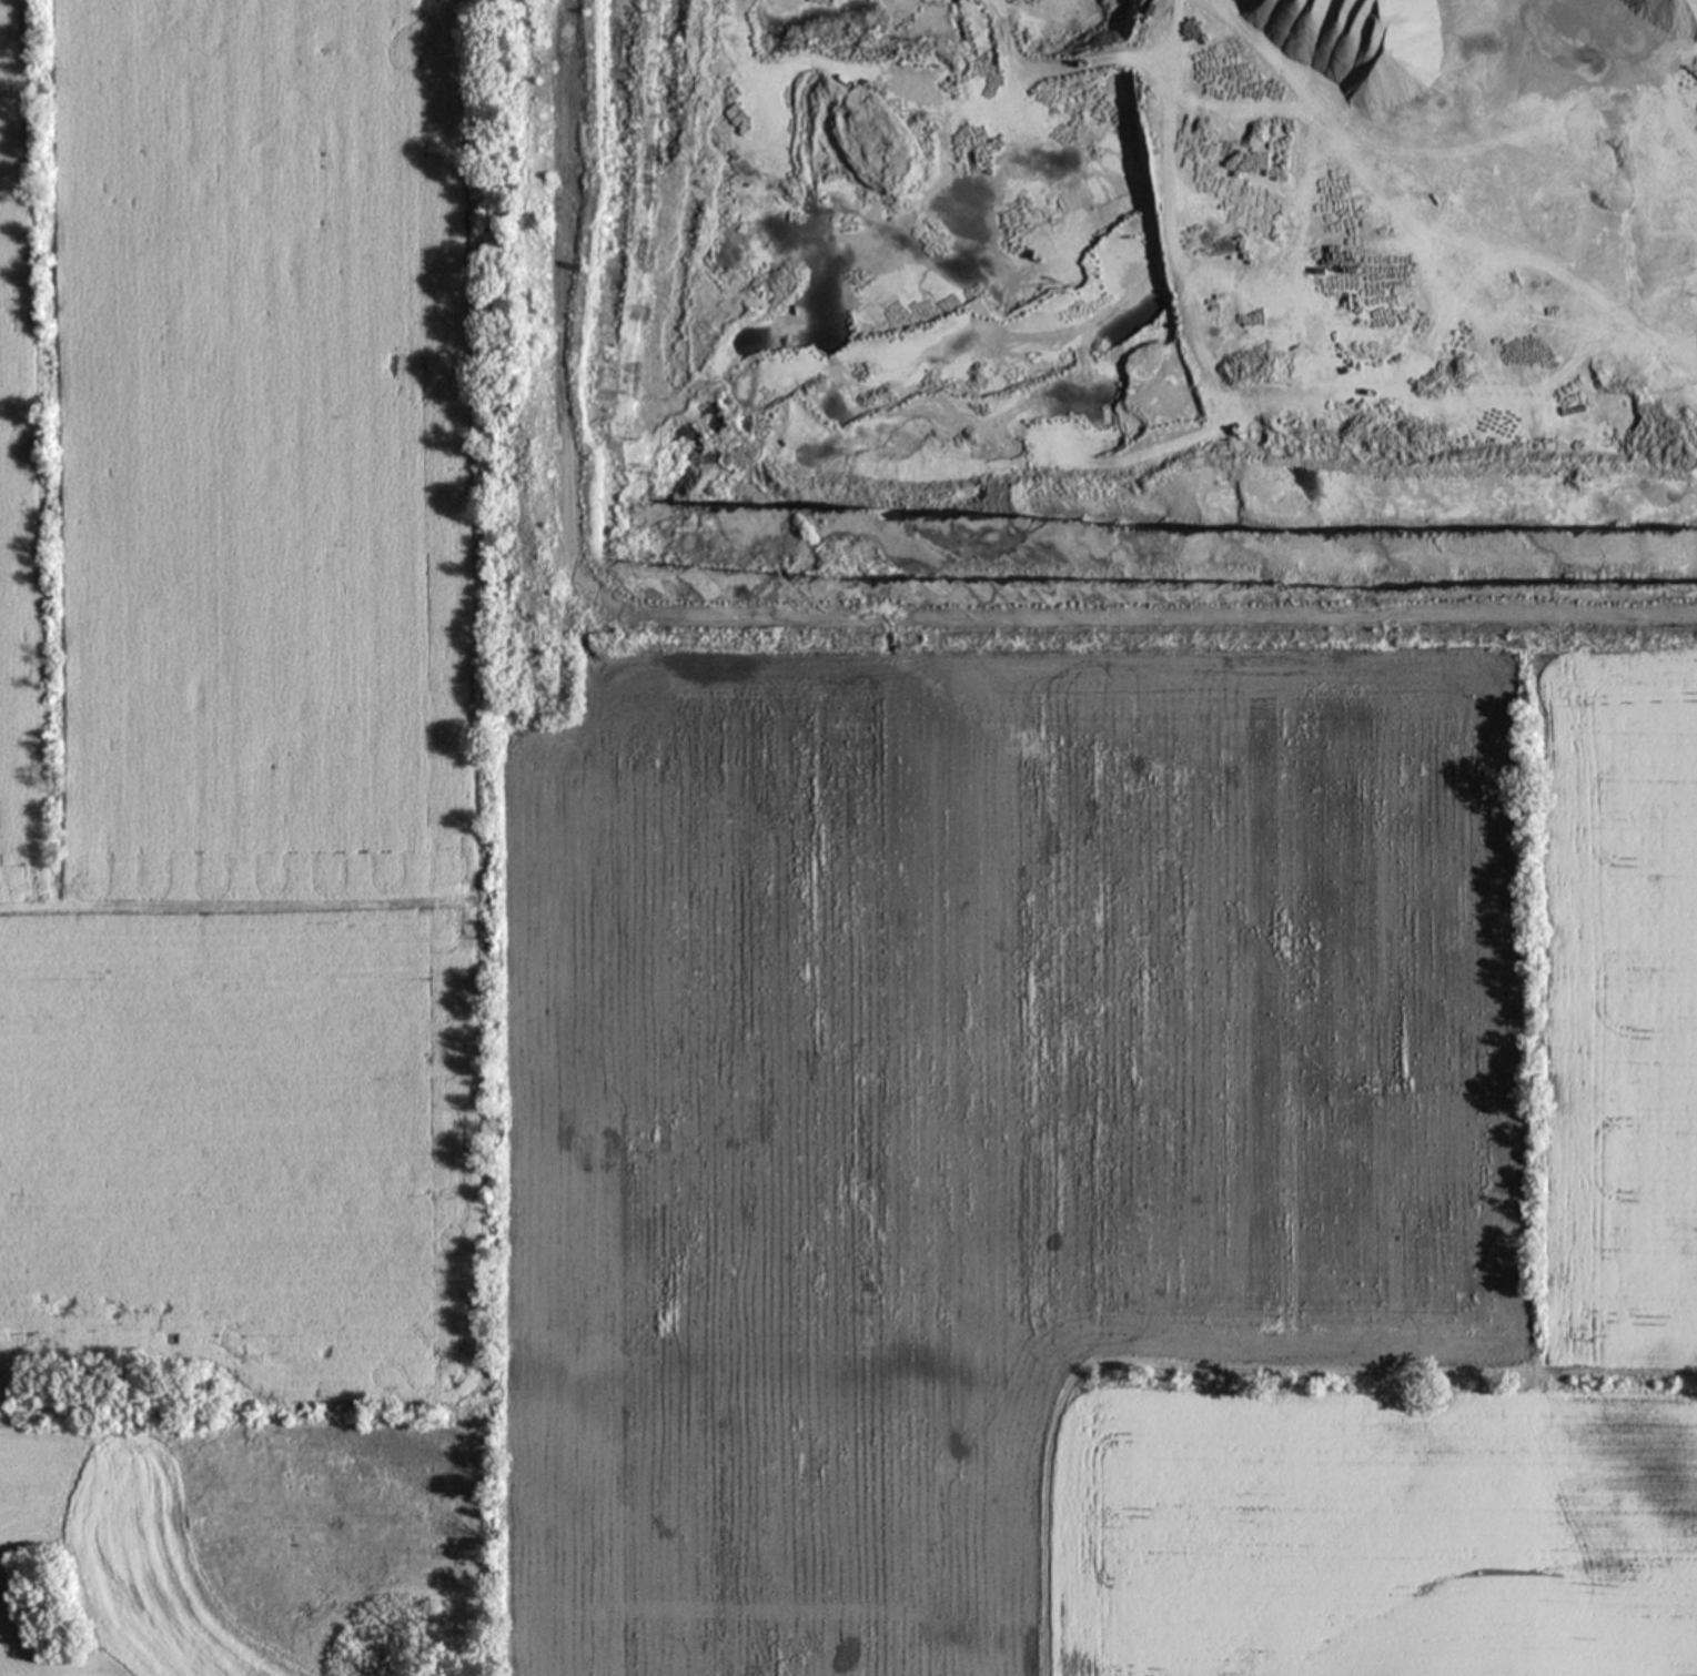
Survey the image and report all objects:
quarry: (1115, 296)
quarry: (1115, 296)

